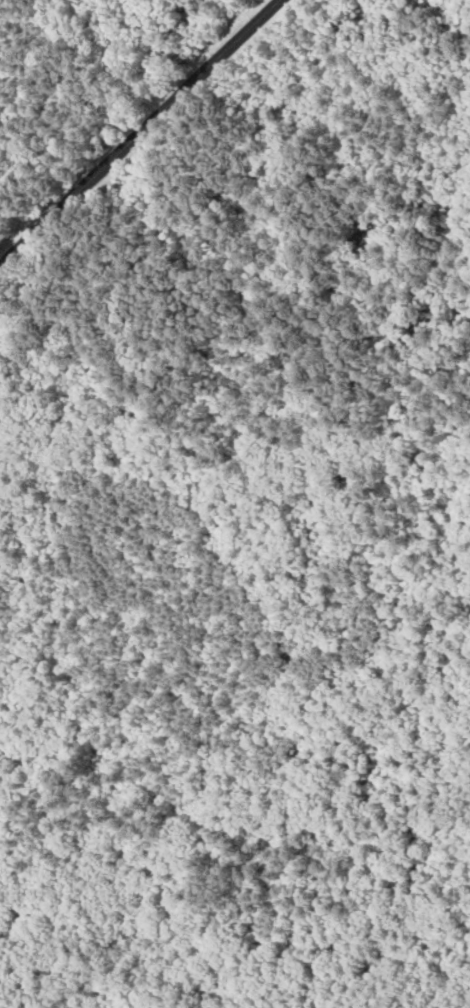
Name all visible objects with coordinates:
road: (142, 136)

